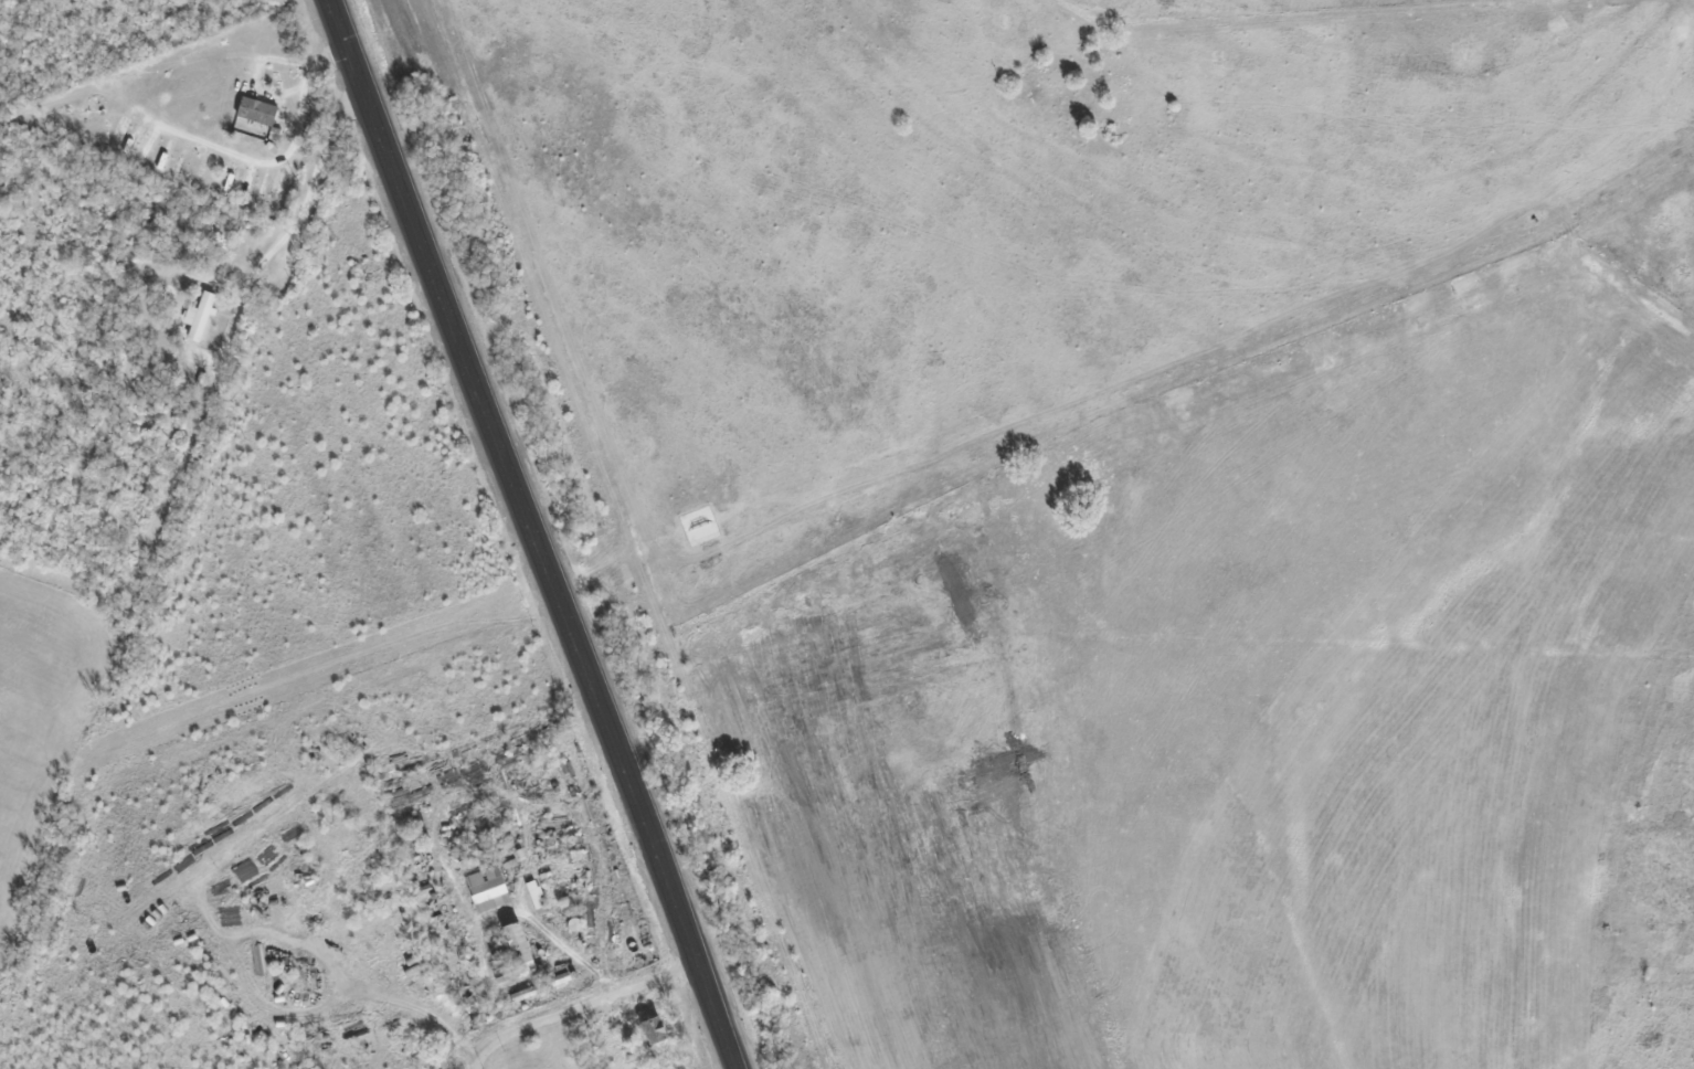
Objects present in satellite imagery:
building: (256, 109)
road: (283, 235)
building: (199, 315)
road: (526, 534)
building: (346, 833)
building: (486, 889)
building: (511, 952)
road: (579, 1003)
building: (655, 1029)
road: (473, 1063)

